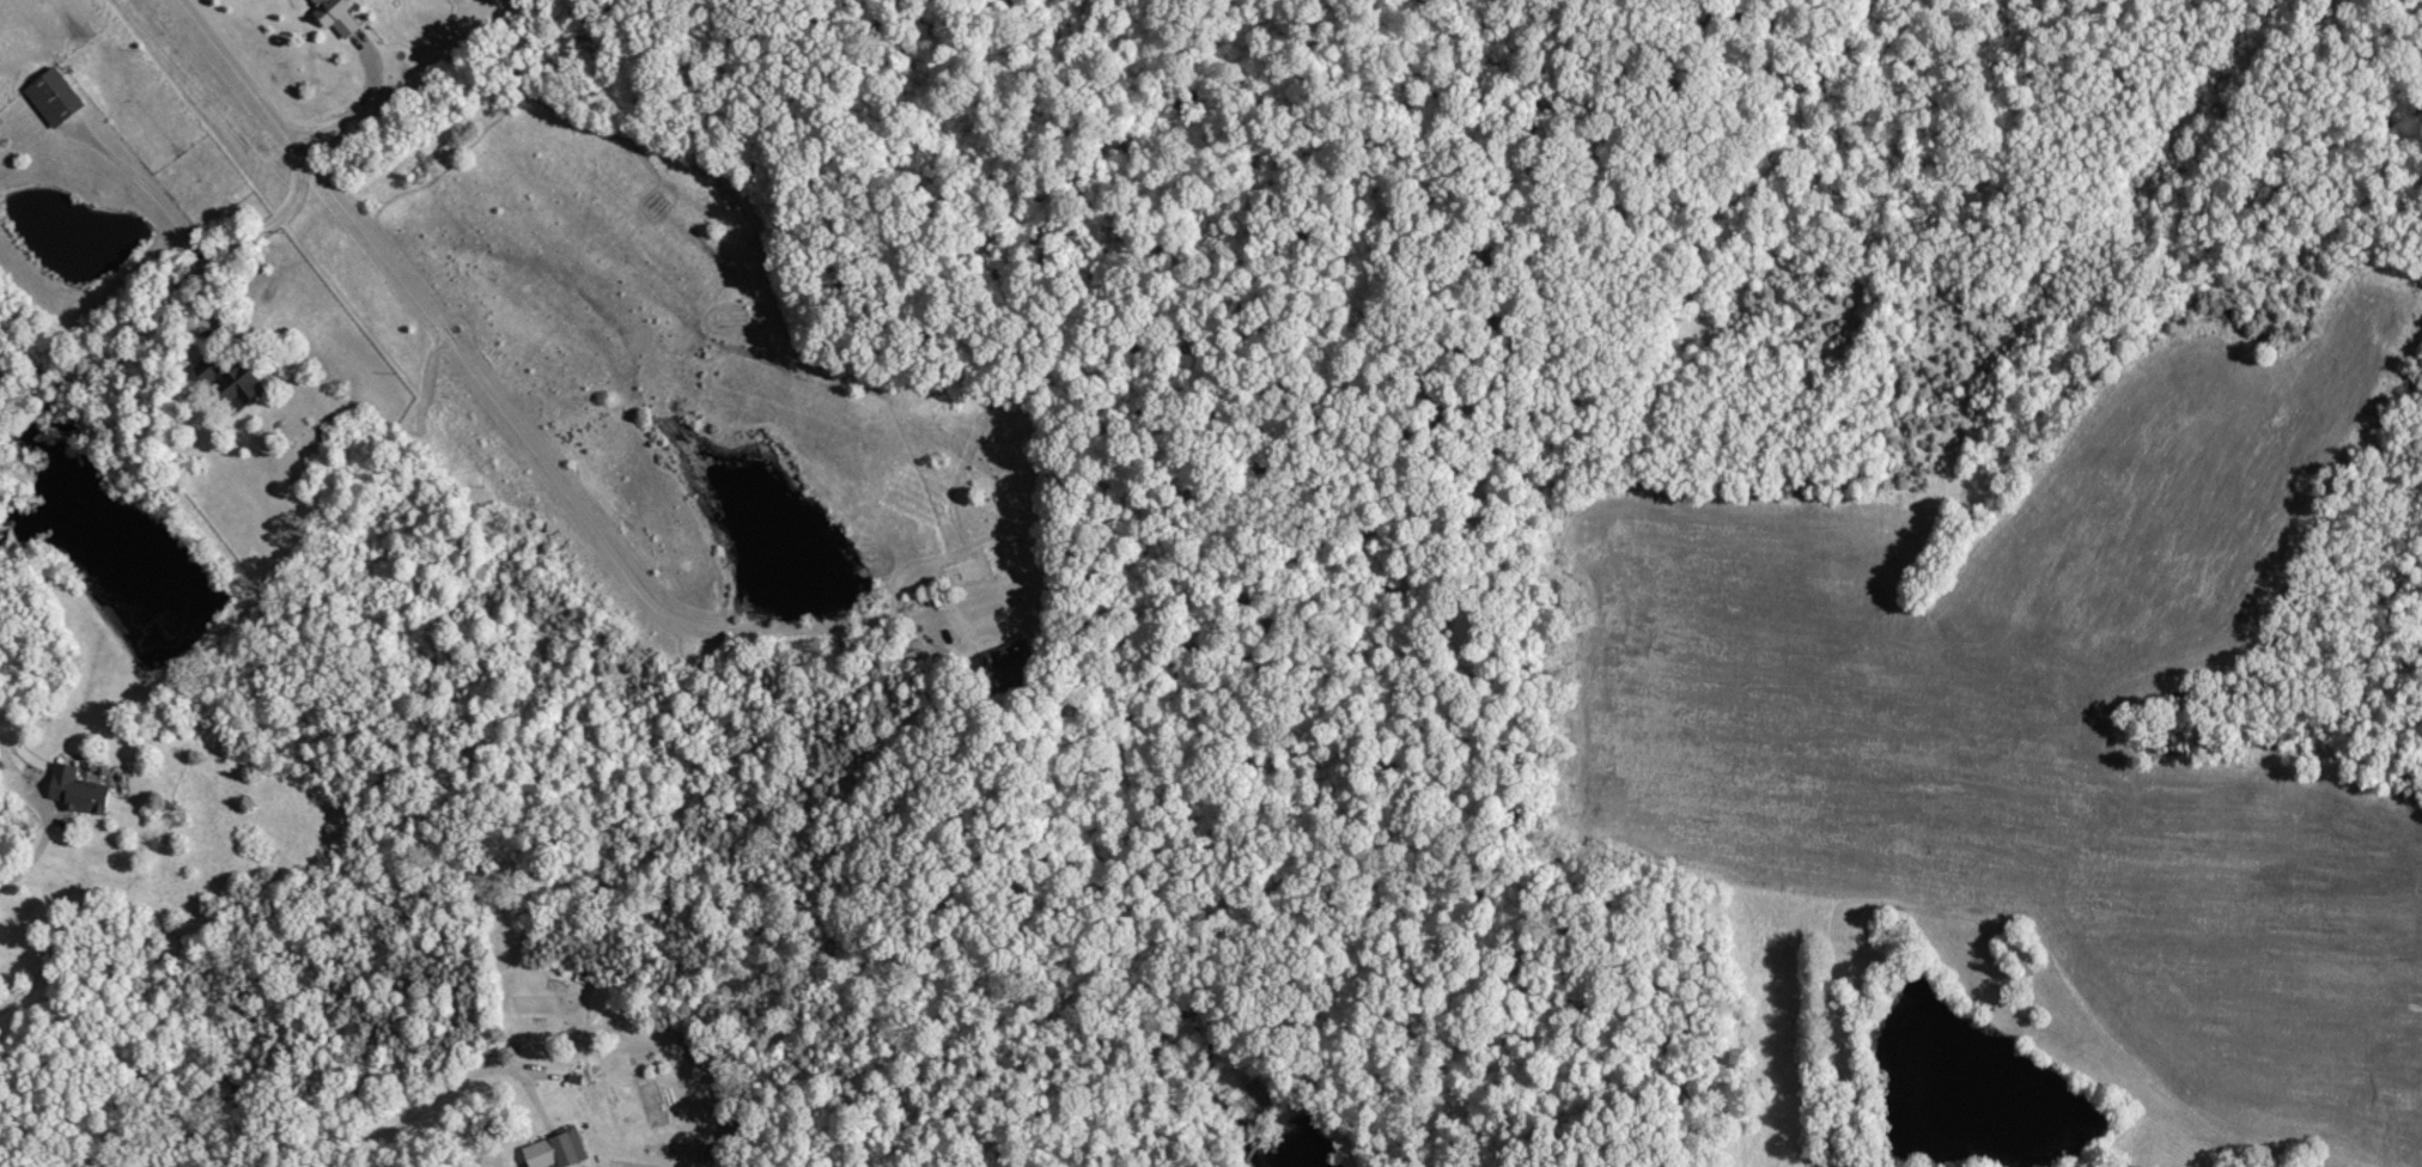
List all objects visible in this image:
building: (339, 14)
building: (56, 97)
road: (369, 98)
road: (272, 224)
building: (237, 384)
road: (504, 413)
building: (1014, 664)
building: (80, 790)
road: (45, 829)
road: (413, 1119)
building: (558, 1150)
road: (75, 1166)

